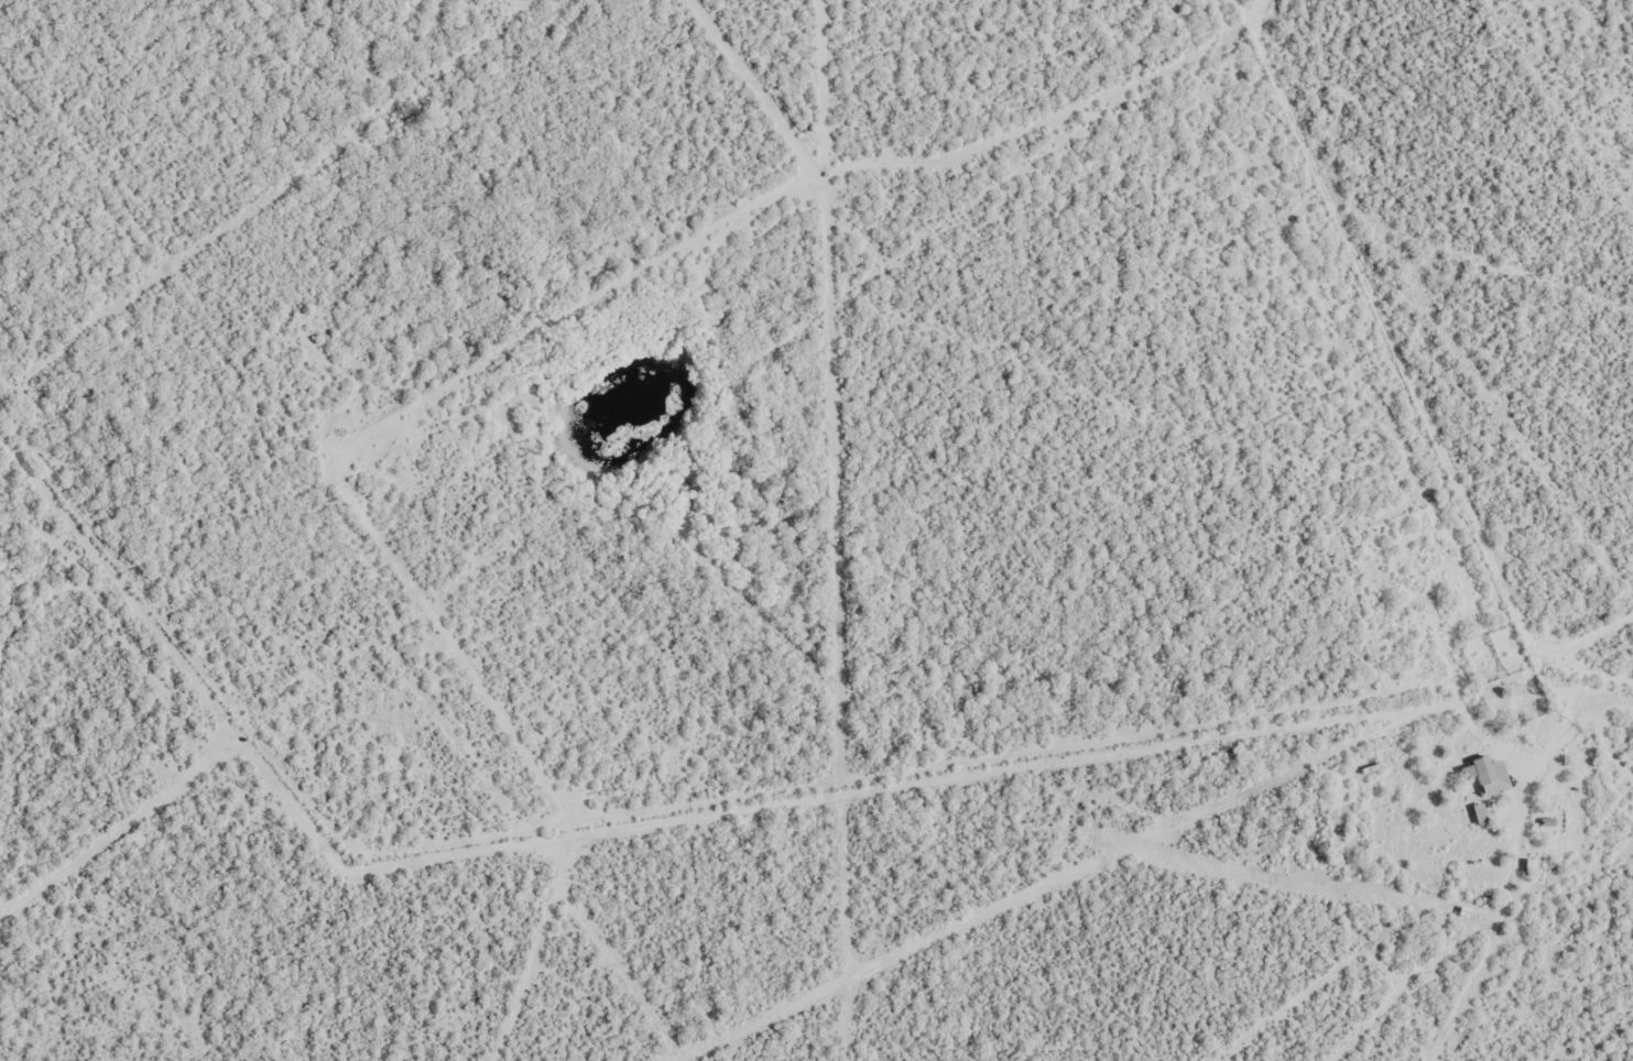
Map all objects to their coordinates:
building: (1489, 776)
road: (1556, 941)
road: (1593, 1010)

